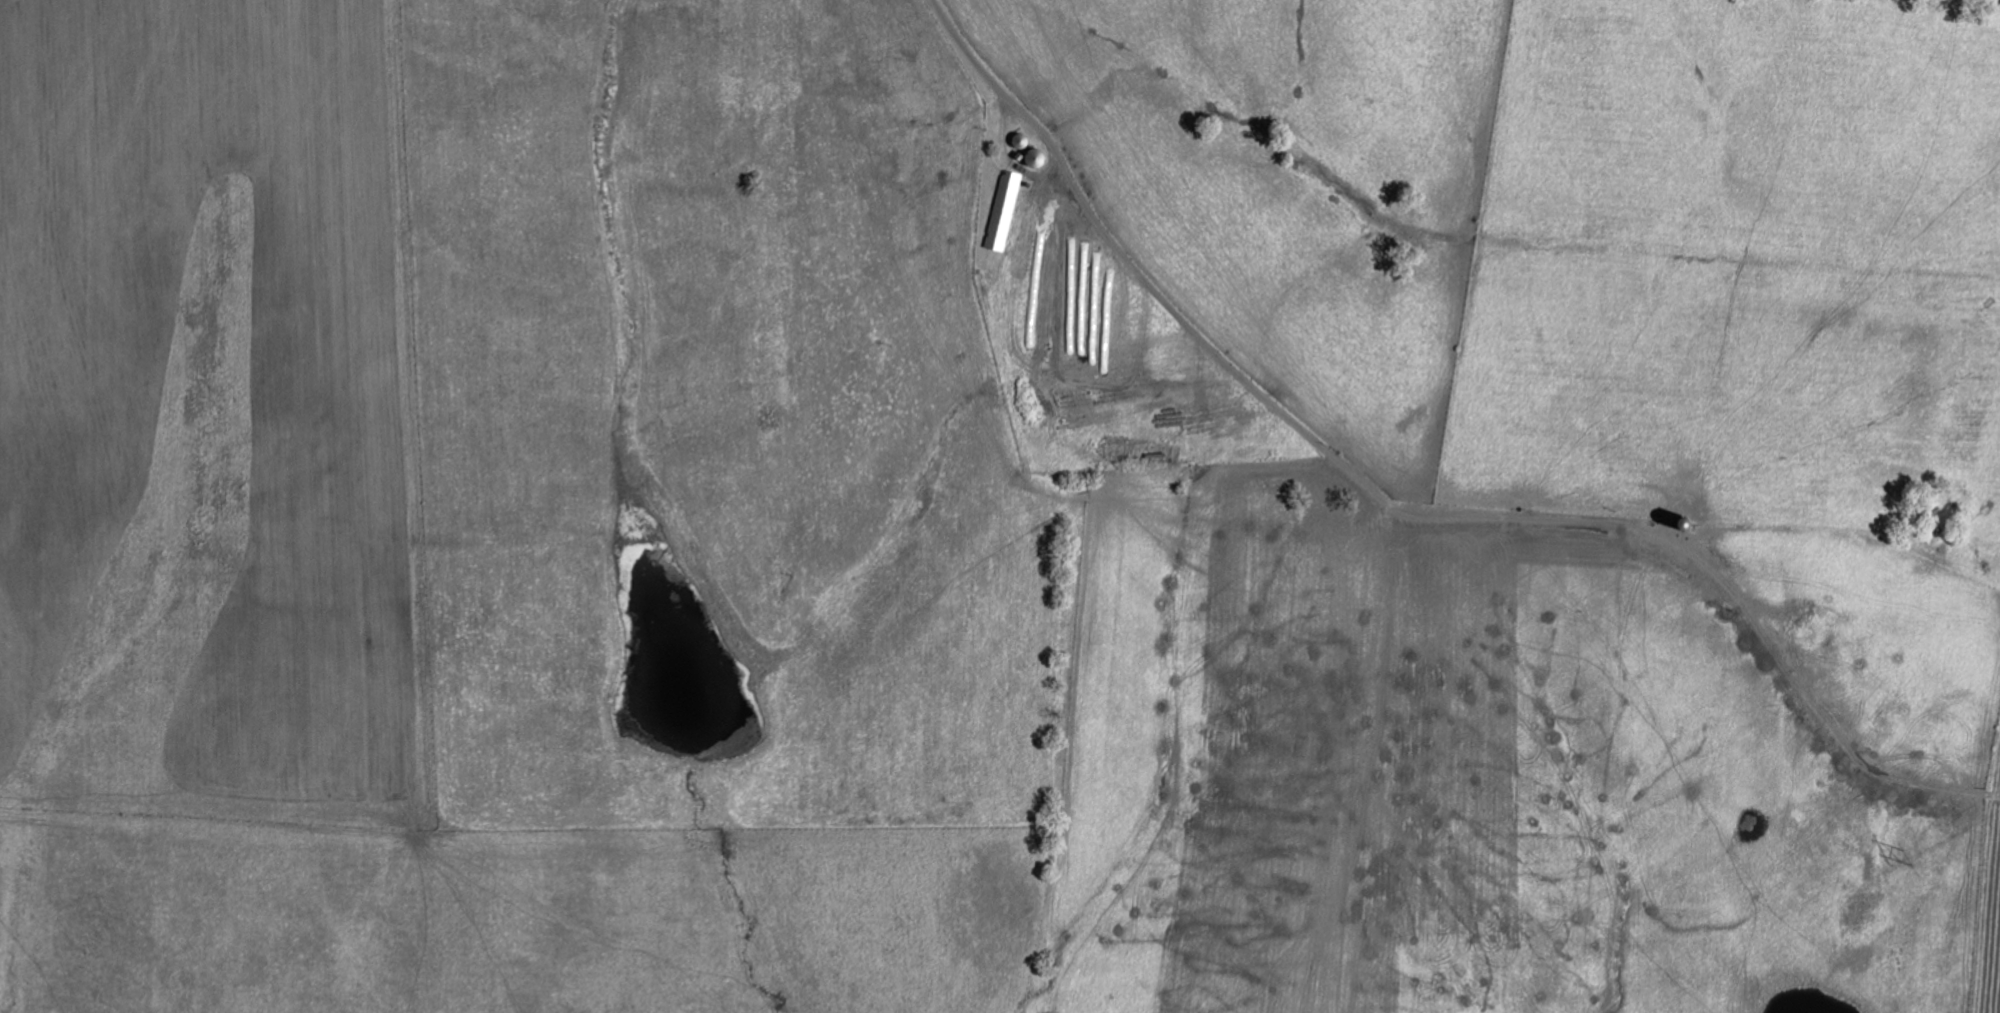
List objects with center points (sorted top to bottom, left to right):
building: (1005, 212)
road: (1107, 244)
road: (1481, 518)
power tower: (1908, 857)

